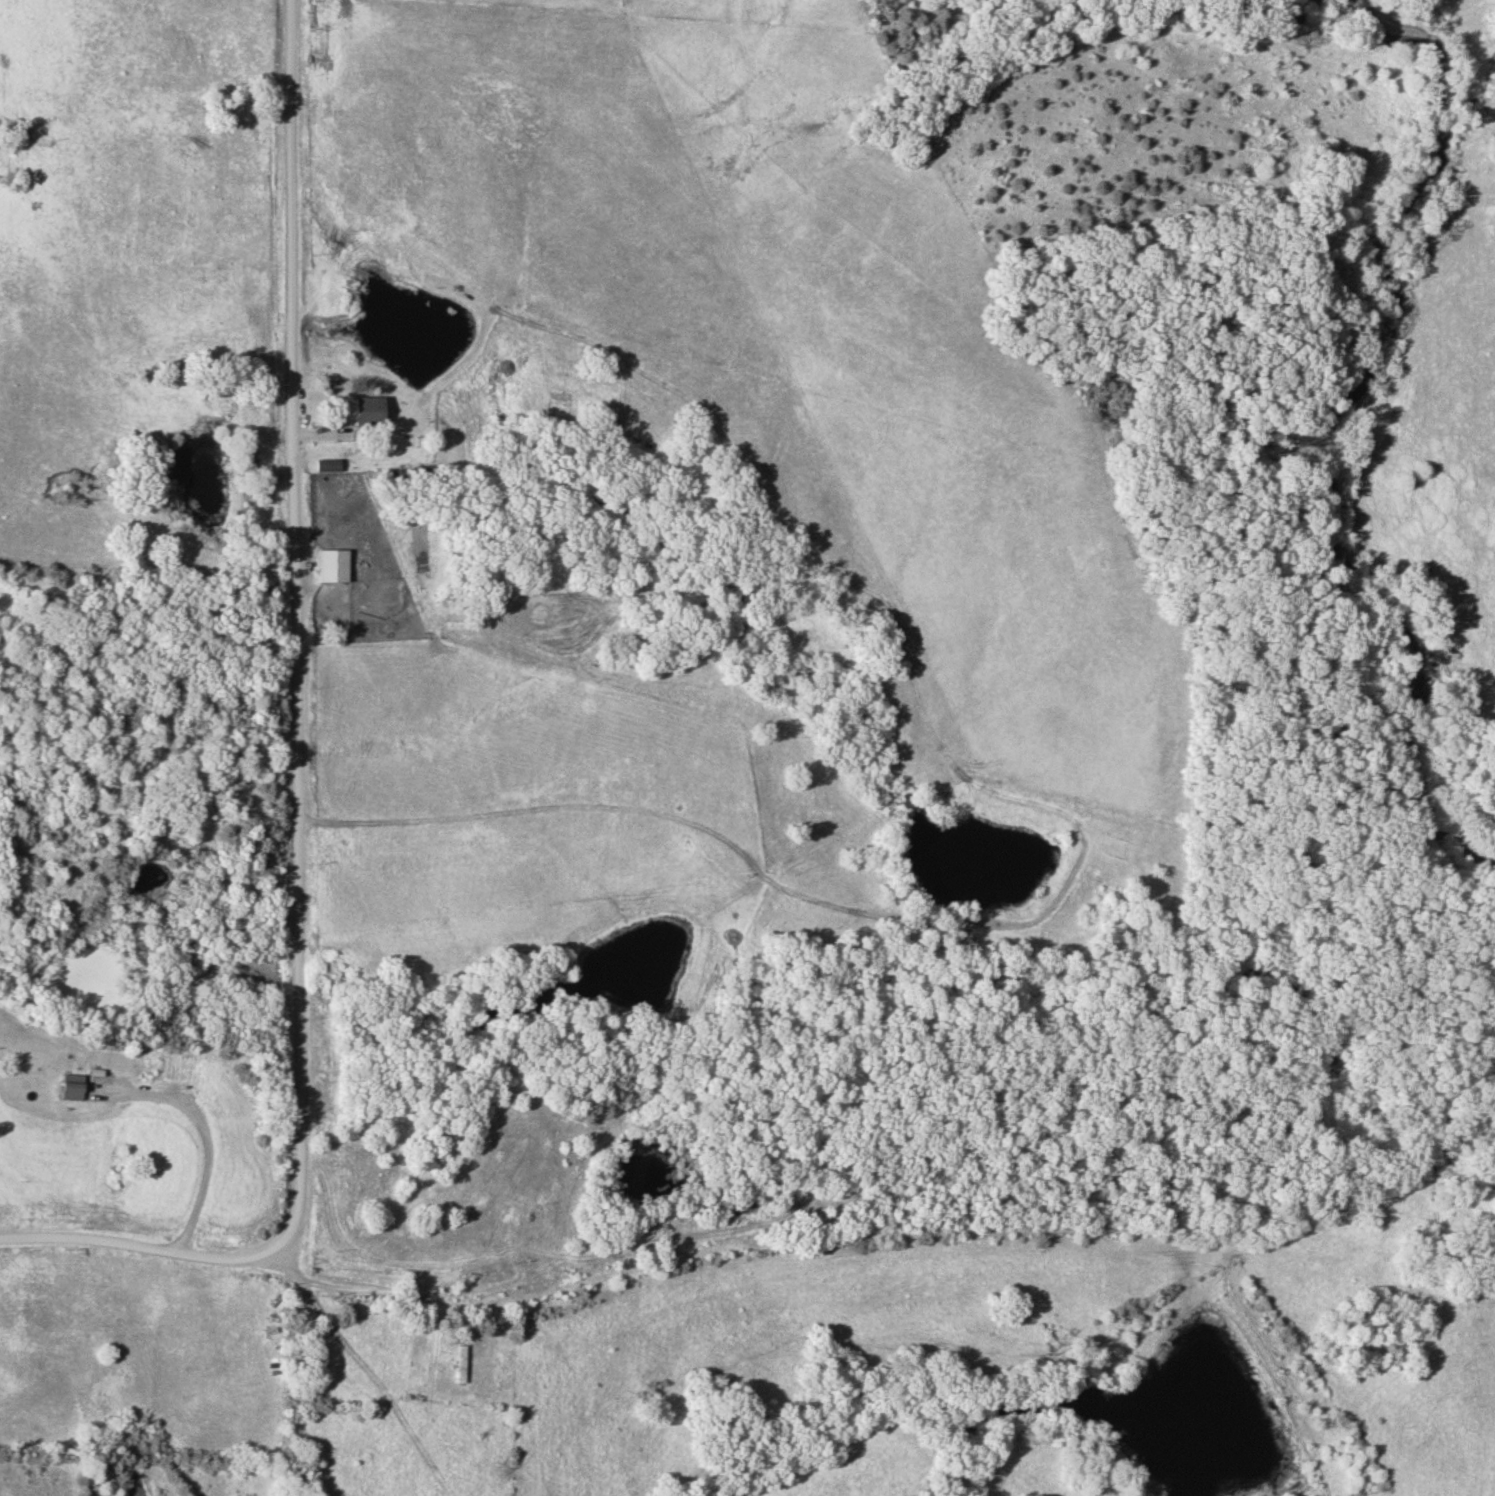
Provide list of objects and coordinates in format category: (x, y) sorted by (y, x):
building: (370, 411)
building: (334, 566)
road: (297, 764)
building: (74, 1086)
building: (462, 1362)

